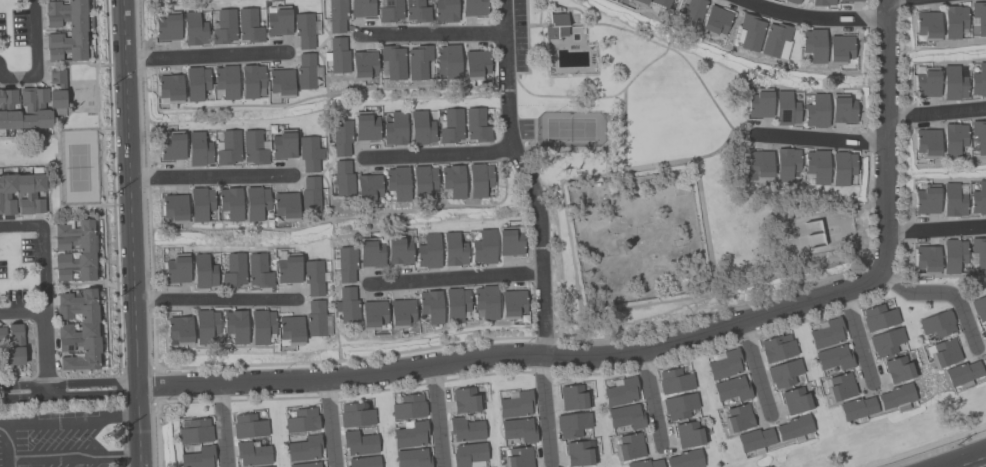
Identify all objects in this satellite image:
building: (850, 0)
road: (885, 0)
road: (890, 0)
building: (793, 1)
building: (637, 2)
building: (822, 2)
building: (660, 3)
building: (473, 7)
building: (362, 8)
building: (694, 9)
building: (445, 10)
building: (390, 11)
building: (416, 11)
building: (336, 16)
road: (814, 16)
building: (979, 17)
building: (278, 21)
building: (714, 21)
building: (953, 21)
building: (248, 25)
building: (556, 25)
building: (927, 25)
building: (167, 26)
building: (224, 27)
building: (193, 29)
building: (303, 30)
building: (76, 31)
building: (749, 32)
road: (434, 33)
building: (775, 40)
building: (813, 45)
building: (838, 49)
road: (36, 55)
road: (204, 55)
building: (337, 55)
building: (418, 61)
building: (447, 61)
building: (392, 62)
building: (362, 64)
building: (475, 64)
building: (306, 71)
building: (250, 80)
building: (979, 80)
building: (225, 81)
building: (280, 81)
building: (927, 82)
building: (954, 82)
building: (195, 83)
building: (169, 90)
building: (760, 103)
building: (32, 104)
building: (786, 108)
building: (842, 109)
building: (816, 111)
road: (936, 112)
building: (477, 125)
building: (365, 126)
building: (451, 126)
building: (421, 128)
building: (395, 129)
park: (569, 129)
road: (885, 136)
building: (979, 136)
building: (342, 138)
road: (820, 138)
building: (953, 139)
building: (926, 143)
building: (283, 145)
building: (228, 147)
building: (253, 147)
building: (172, 148)
building: (199, 150)
road: (440, 152)
building: (309, 153)
building: (786, 163)
building: (759, 164)
building: (816, 166)
building: (841, 168)
park: (77, 169)
park: (655, 171)
road: (209, 176)
road: (528, 176)
building: (342, 179)
building: (478, 179)
building: (452, 180)
building: (422, 181)
building: (397, 182)
building: (367, 187)
road: (128, 193)
building: (310, 194)
building: (29, 196)
building: (978, 198)
building: (926, 199)
building: (953, 200)
building: (255, 202)
building: (200, 203)
building: (230, 203)
building: (285, 206)
building: (174, 207)
road: (935, 229)
building: (510, 242)
building: (483, 247)
building: (85, 248)
building: (453, 249)
building: (399, 251)
building: (428, 252)
building: (371, 253)
building: (979, 253)
building: (952, 255)
building: (926, 259)
building: (346, 264)
building: (288, 268)
building: (177, 269)
road: (42, 270)
building: (234, 270)
building: (258, 271)
building: (203, 272)
building: (313, 277)
road: (455, 277)
road: (942, 291)
road: (214, 298)
building: (485, 302)
building: (512, 304)
building: (347, 305)
building: (456, 305)
building: (430, 306)
building: (979, 308)
building: (401, 312)
building: (372, 313)
building: (314, 318)
building: (878, 318)
building: (937, 324)
building: (235, 325)
building: (206, 326)
building: (261, 326)
building: (985, 326)
building: (290, 328)
building: (78, 330)
building: (179, 330)
building: (826, 333)
road: (858, 335)
building: (886, 342)
building: (12, 345)
building: (777, 348)
road: (45, 351)
building: (942, 352)
road: (513, 354)
building: (834, 357)
building: (984, 362)
building: (723, 364)
road: (755, 367)
building: (899, 369)
building: (784, 373)
building: (962, 373)
building: (674, 381)
building: (840, 387)
road: (68, 389)
building: (732, 389)
building: (621, 391)
road: (651, 396)
building: (895, 396)
building: (573, 398)
building: (465, 400)
building: (795, 400)
road: (209, 402)
building: (515, 404)
building: (679, 406)
building: (408, 407)
road: (545, 408)
building: (856, 408)
building: (355, 415)
road: (436, 415)
building: (626, 417)
building: (737, 418)
building: (302, 421)
road: (48, 422)
road: (330, 422)
road: (0, 424)
building: (572, 424)
road: (223, 425)
road: (138, 426)
building: (248, 426)
building: (793, 427)
building: (465, 429)
building: (518, 430)
building: (195, 431)
building: (687, 434)
building: (410, 435)
building: (754, 439)
building: (359, 443)
building: (629, 447)
building: (304, 449)
road: (936, 449)
building: (251, 453)
building: (579, 453)
building: (469, 455)
road: (70, 457)
building: (198, 457)
building: (517, 457)
building: (412, 458)
building: (685, 459)
building: (364, 461)
building: (644, 463)
building: (305, 465)
building: (267, 466)

